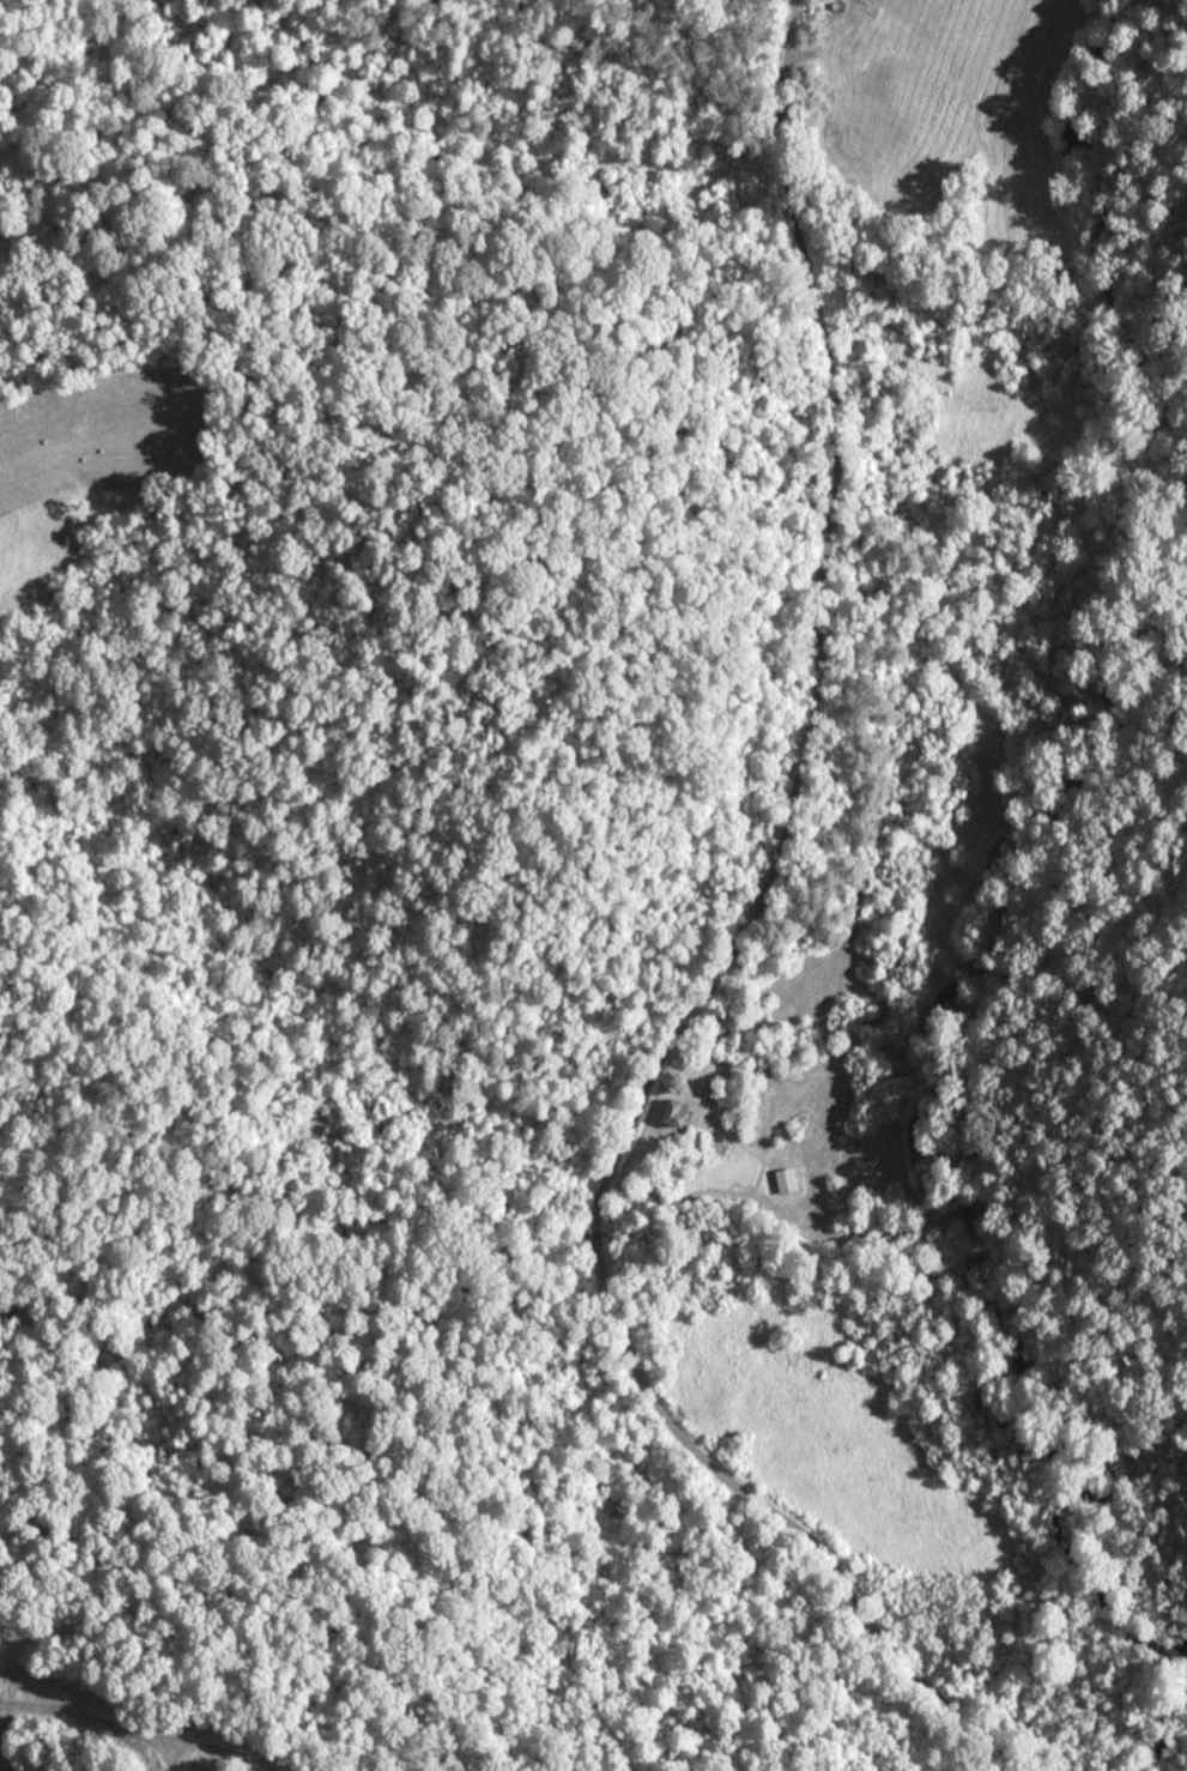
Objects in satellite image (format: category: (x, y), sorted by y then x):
road: (714, 961)
building: (674, 1114)

